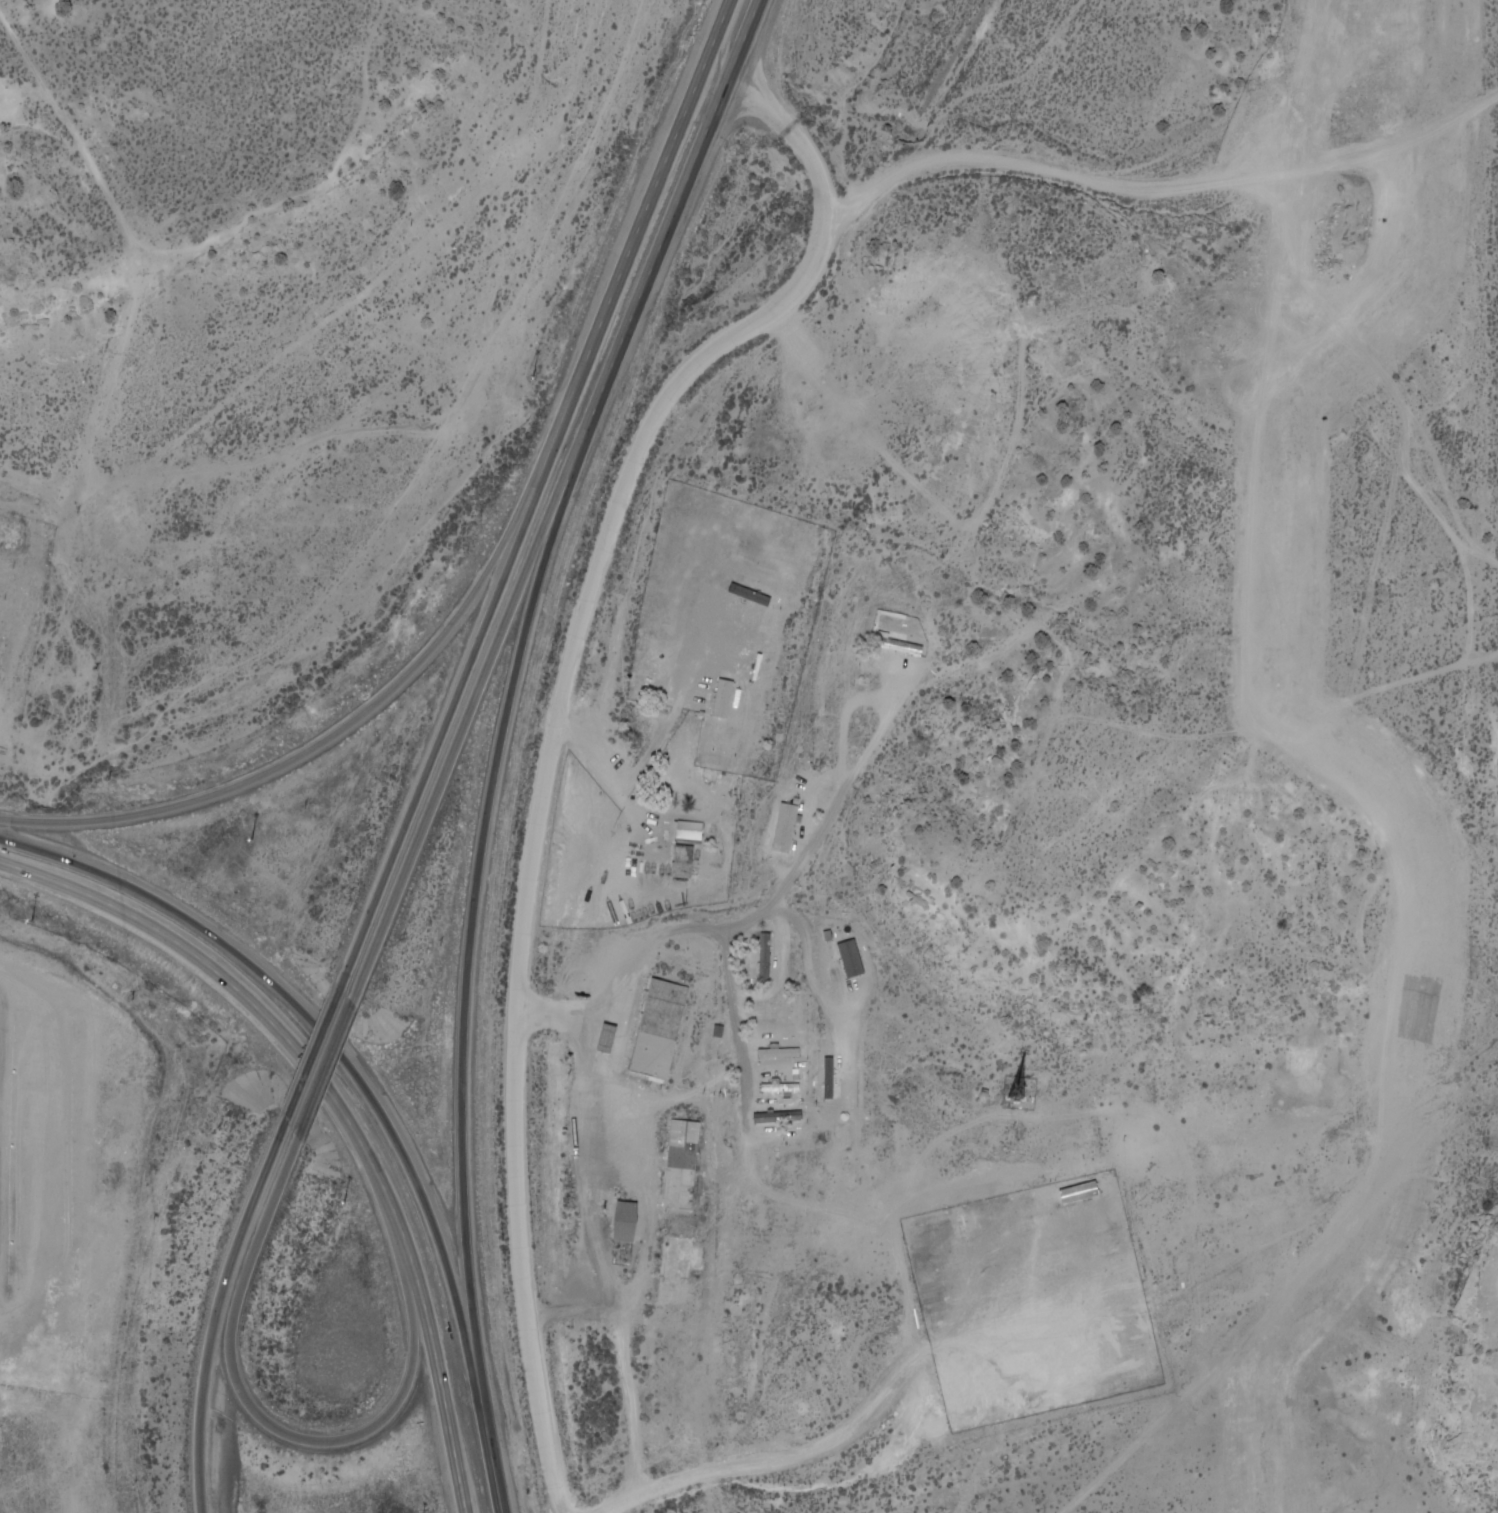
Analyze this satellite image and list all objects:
road: (932, 120)
road: (794, 128)
road: (1373, 156)
road: (681, 196)
road: (1284, 204)
road: (621, 267)
road: (735, 342)
road: (1485, 556)
building: (757, 595)
road: (1476, 618)
building: (905, 649)
building: (765, 669)
road: (475, 695)
building: (731, 701)
road: (302, 757)
road: (429, 763)
road: (620, 793)
building: (793, 834)
building: (692, 864)
road: (788, 881)
road: (472, 945)
building: (755, 956)
building: (852, 958)
building: (773, 961)
road: (809, 964)
road: (519, 986)
building: (775, 1003)
road: (734, 1015)
road: (634, 1032)
building: (668, 1032)
building: (616, 1043)
building: (789, 1056)
road: (314, 1058)
road: (589, 1060)
road: (327, 1069)
building: (830, 1084)
road: (365, 1086)
building: (790, 1090)
road: (339, 1106)
building: (788, 1122)
road: (655, 1141)
building: (692, 1170)
road: (599, 1184)
road: (658, 1223)
building: (634, 1225)
road: (721, 1291)
road: (218, 1313)
road: (926, 1357)
road: (639, 1411)
road: (260, 1412)

